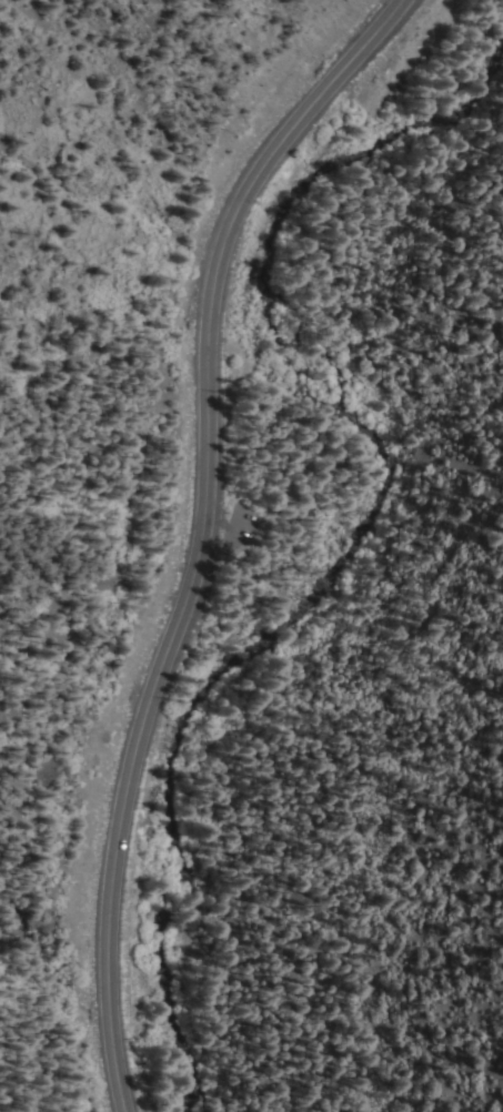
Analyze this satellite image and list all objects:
road: (200, 532)

